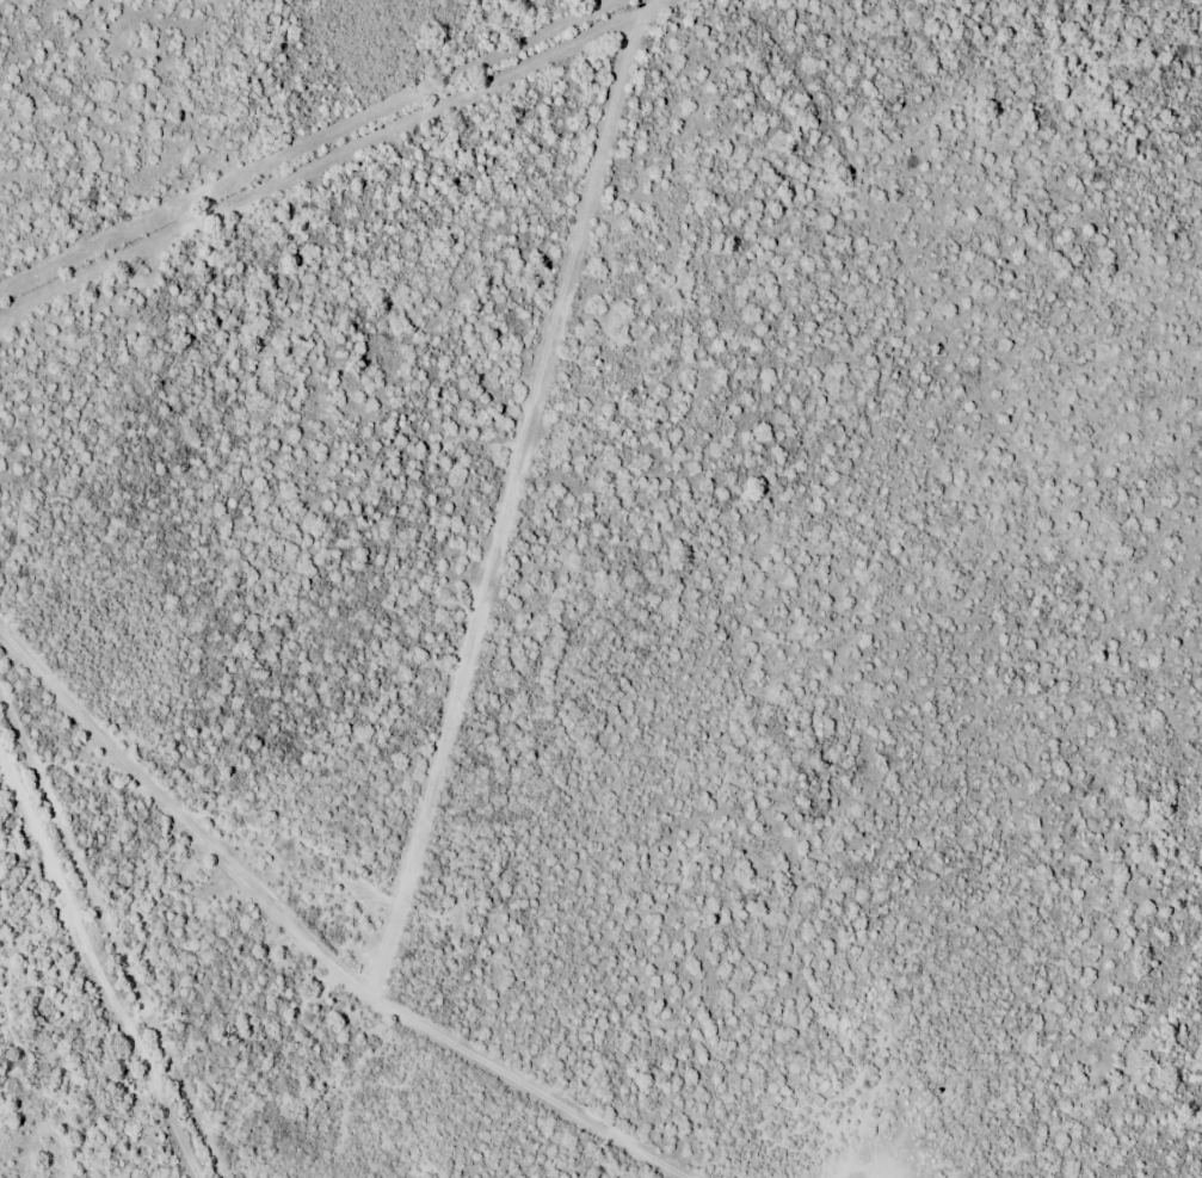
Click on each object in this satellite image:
road: (302, 945)

